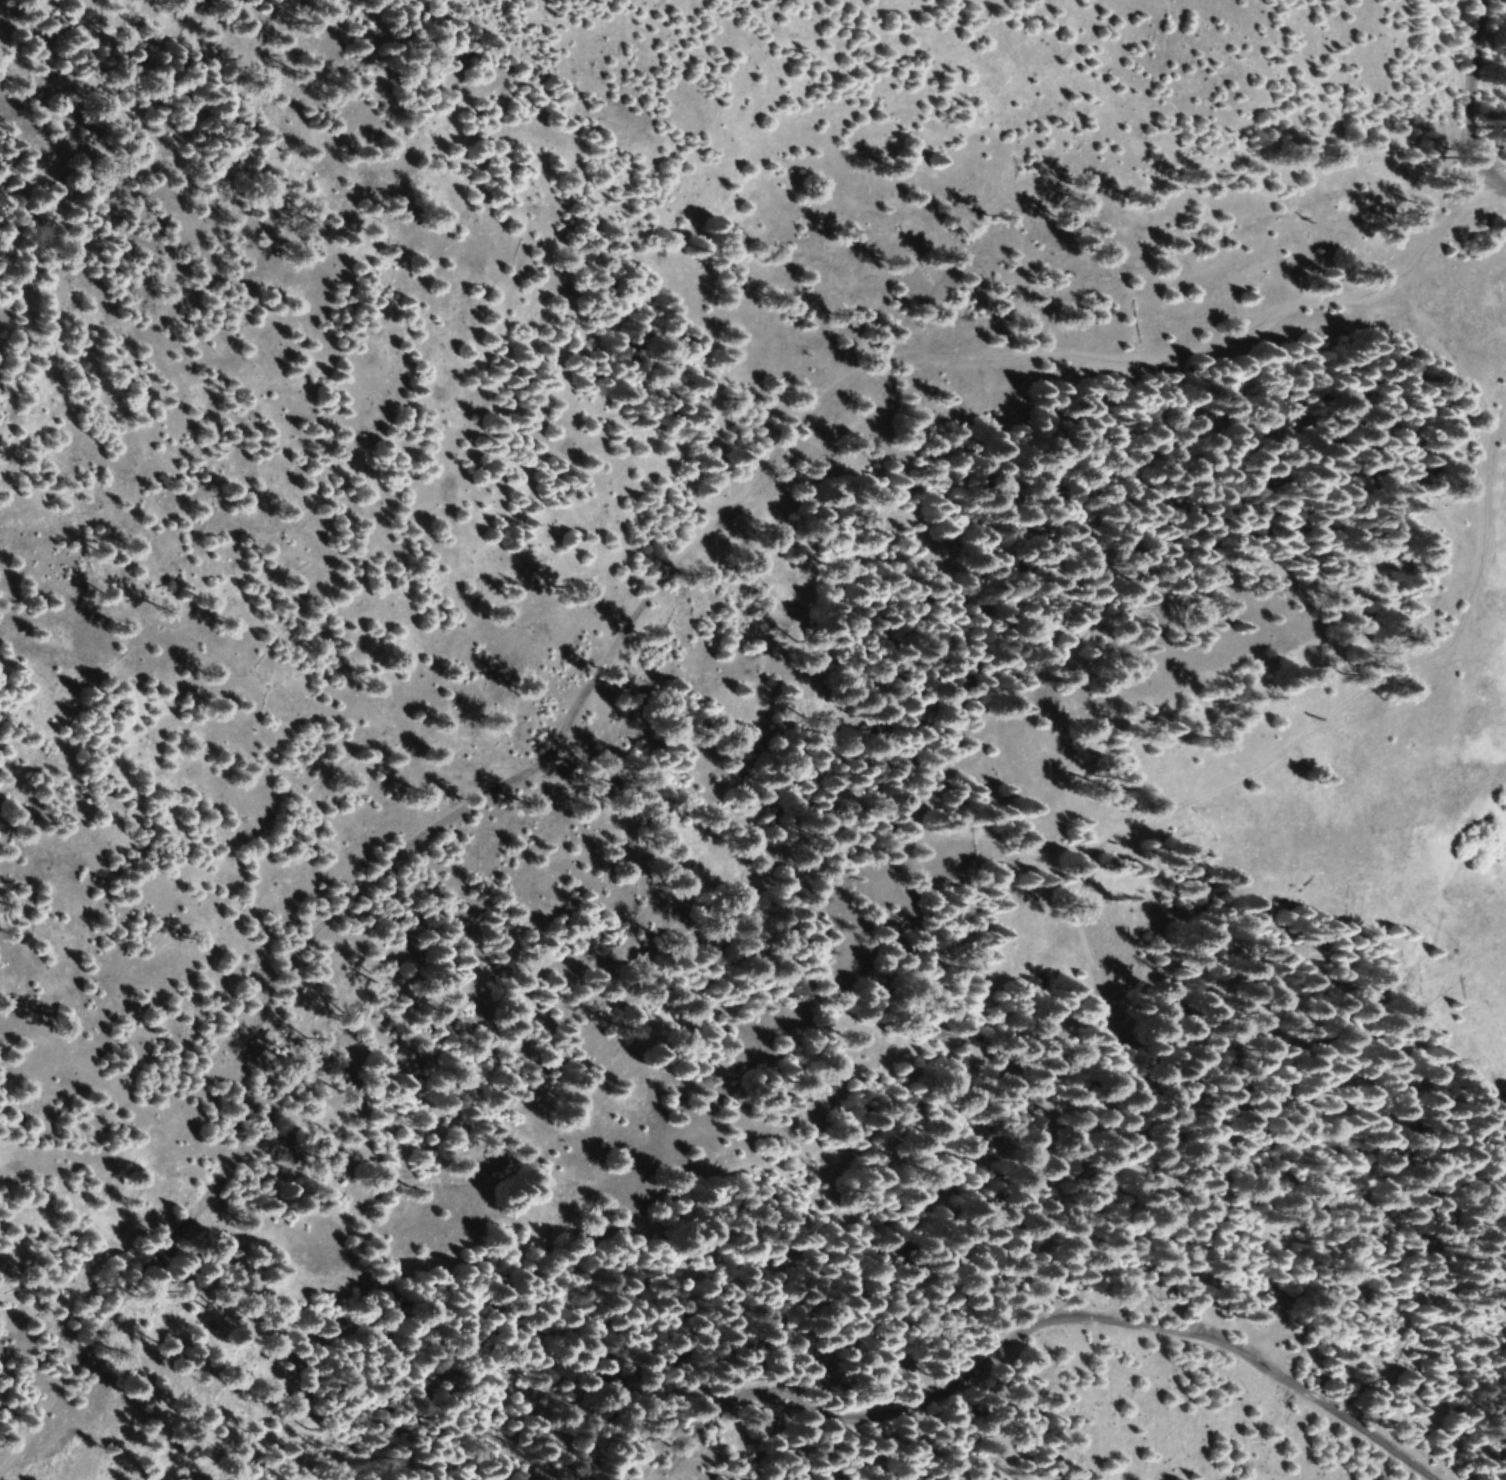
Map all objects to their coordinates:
road: (1470, 104)
road: (1486, 502)
road: (614, 644)
road: (1233, 781)
road: (1140, 1088)
road: (1051, 1353)

